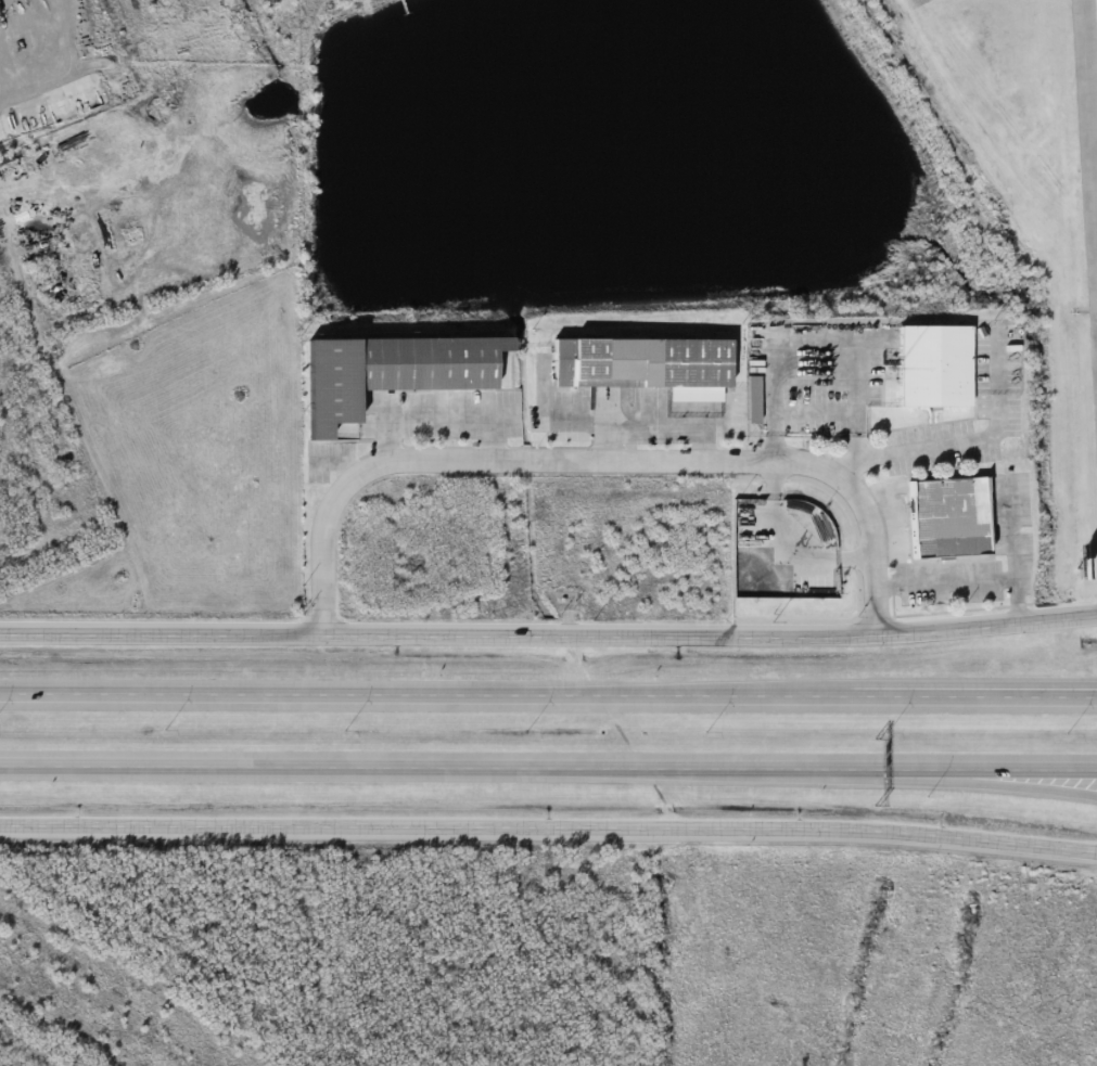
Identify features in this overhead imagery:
road: (1088, 153)
building: (645, 365)
building: (935, 365)
building: (393, 372)
building: (755, 400)
road: (597, 465)
building: (949, 516)
road: (548, 629)
road: (834, 683)
road: (548, 695)
road: (548, 769)
road: (947, 784)
road: (548, 833)

